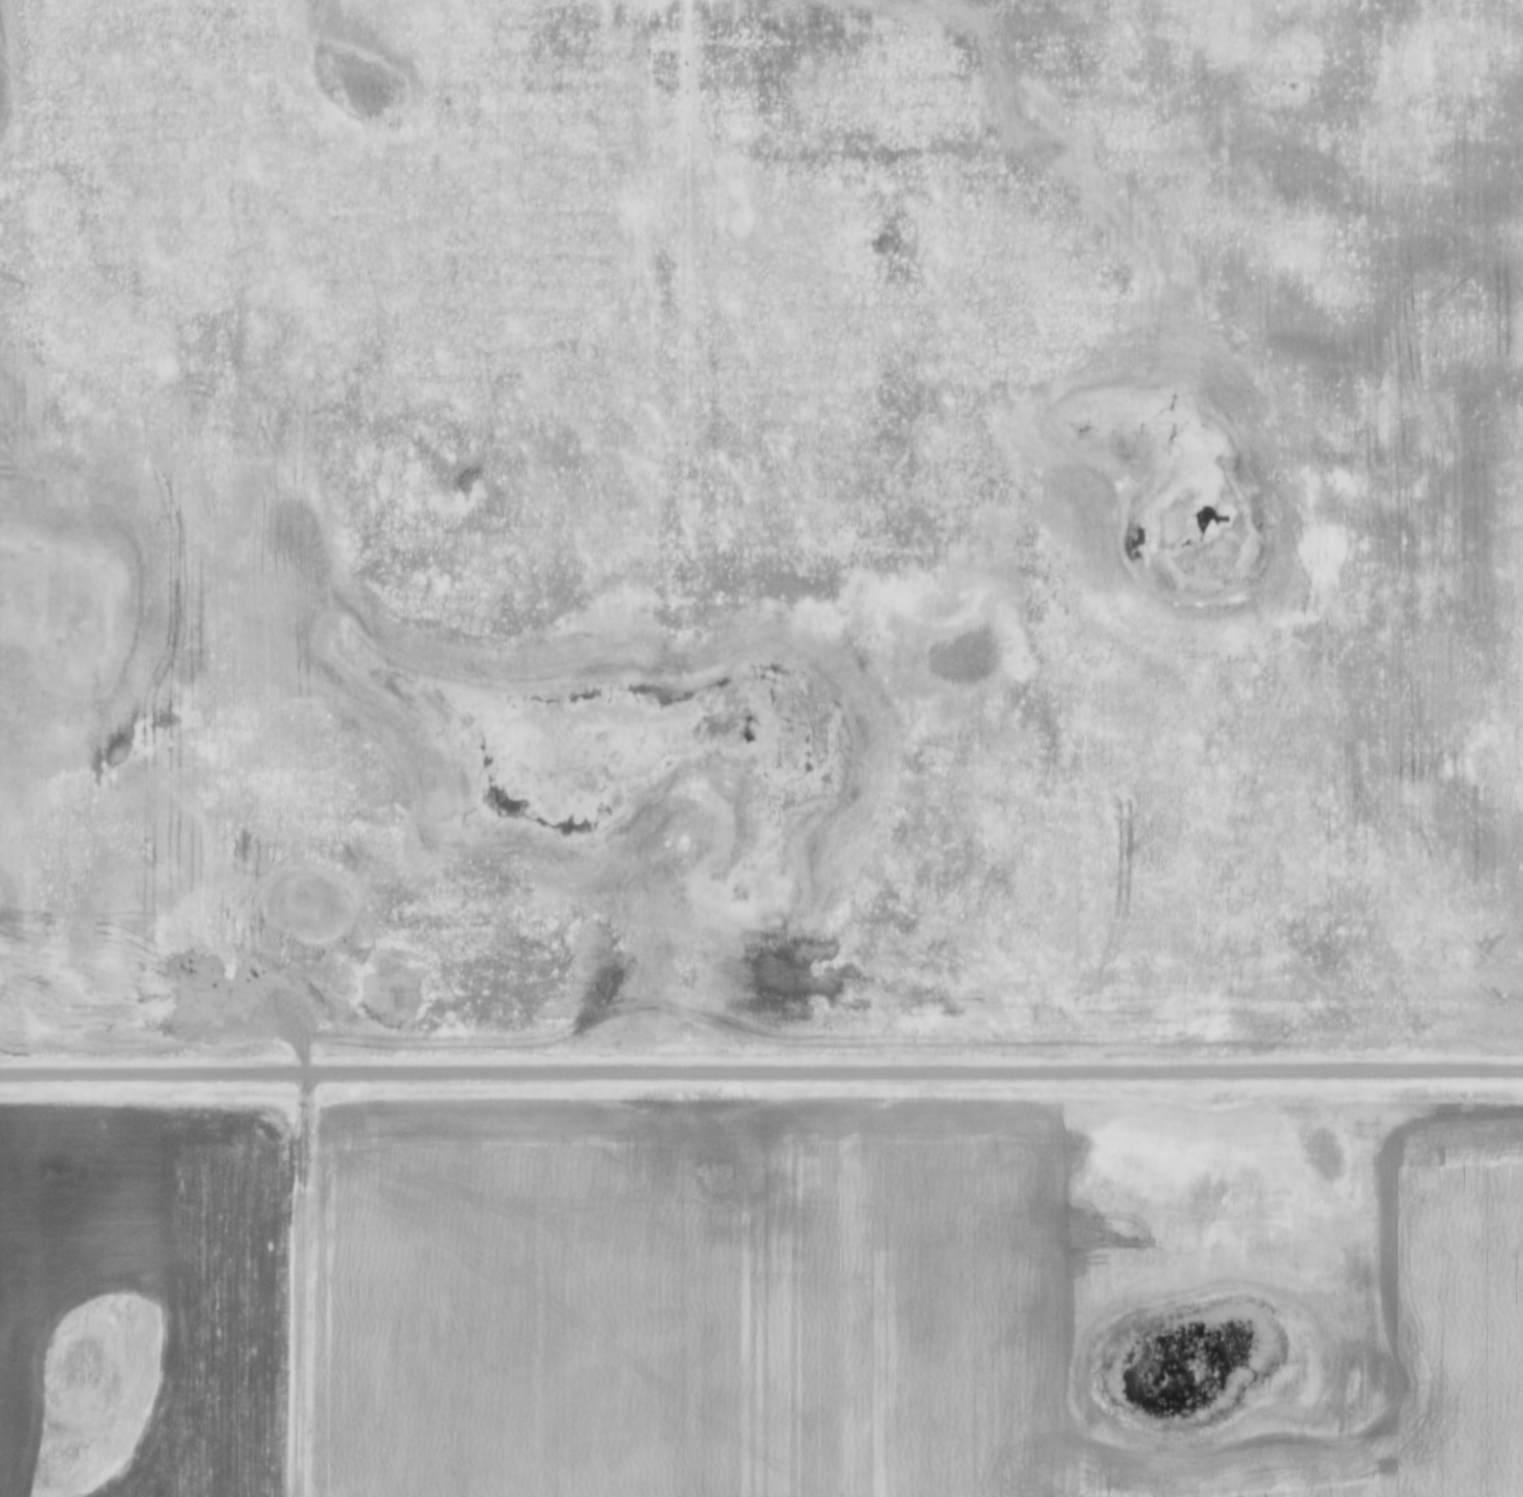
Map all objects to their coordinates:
road: (761, 1070)

